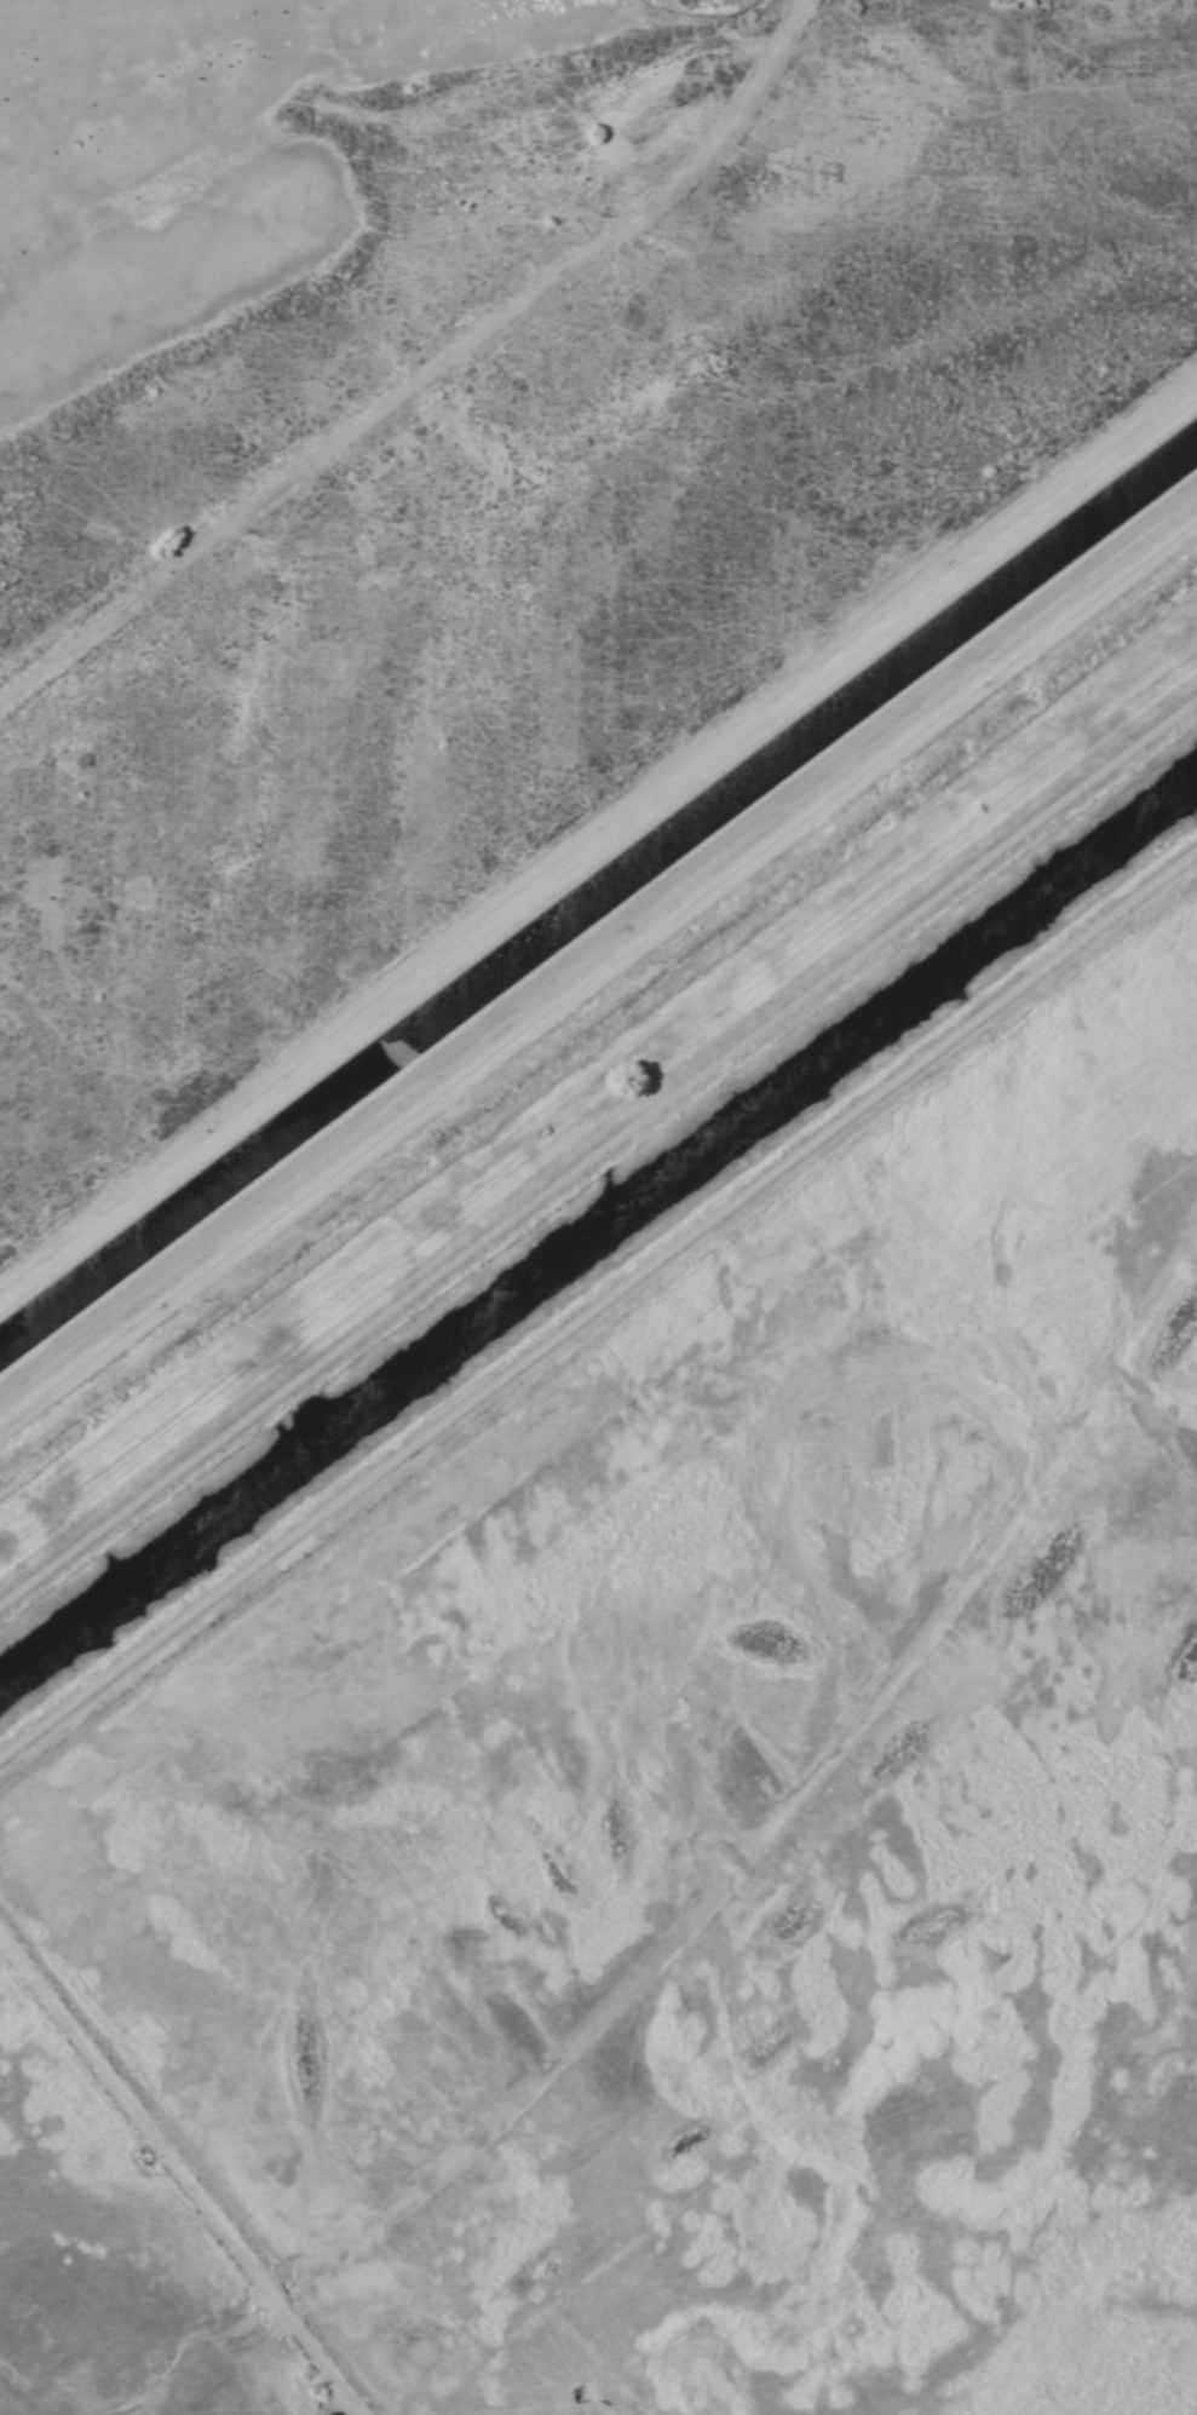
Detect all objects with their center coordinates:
crop: (489, 459)
road: (180, 2174)

